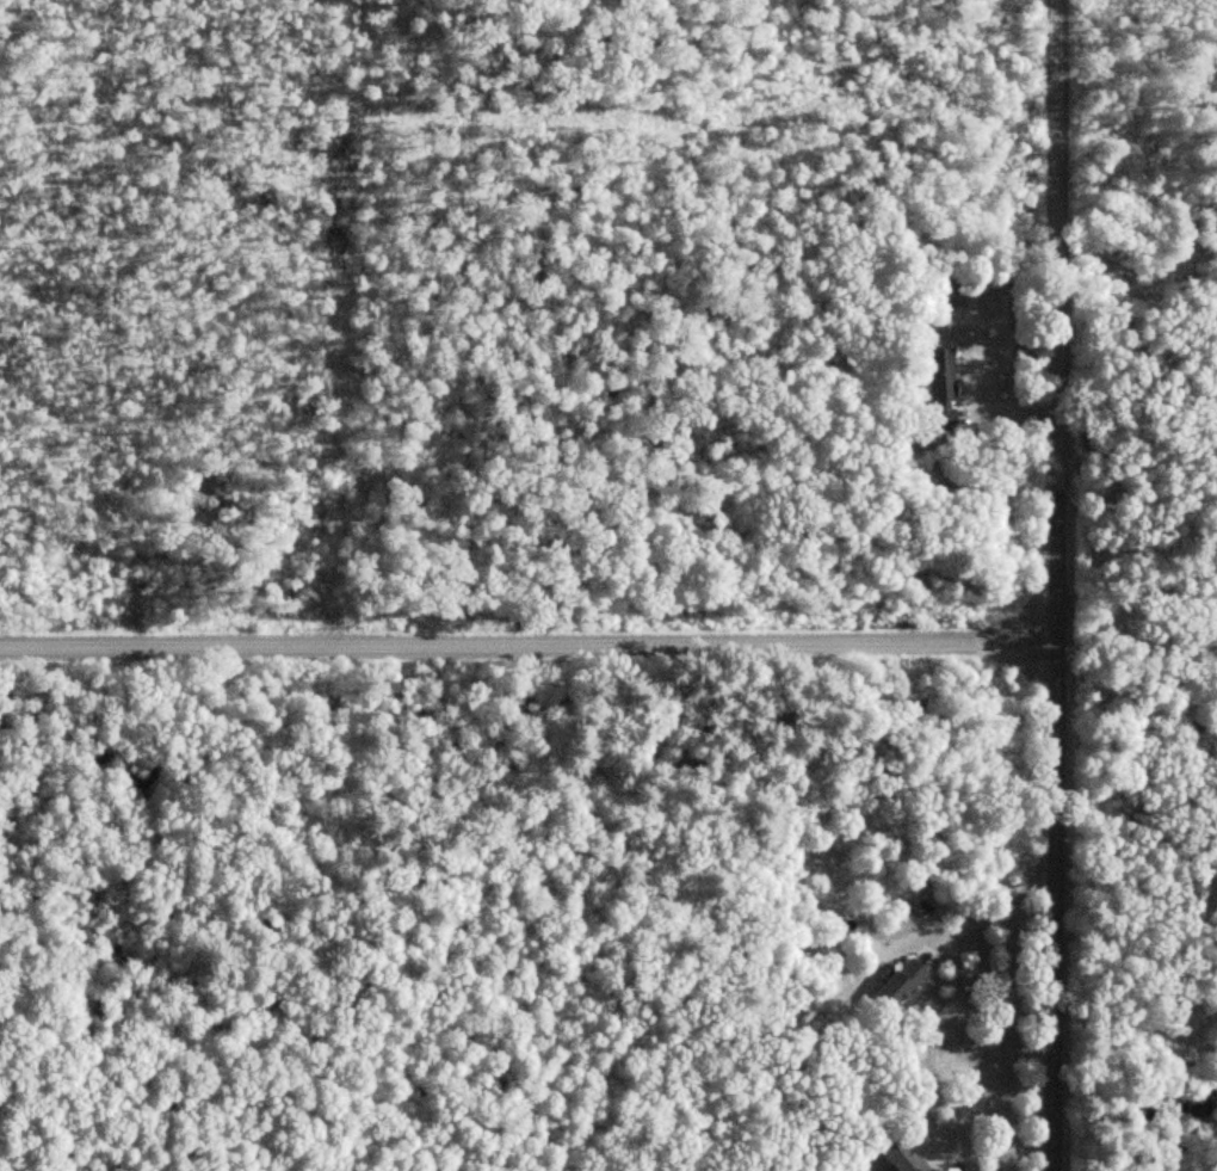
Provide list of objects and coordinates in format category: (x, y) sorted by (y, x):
building: (940, 389)
road: (1056, 585)
road: (1137, 627)
road: (529, 648)
road: (990, 918)
building: (900, 984)
building: (901, 1158)

